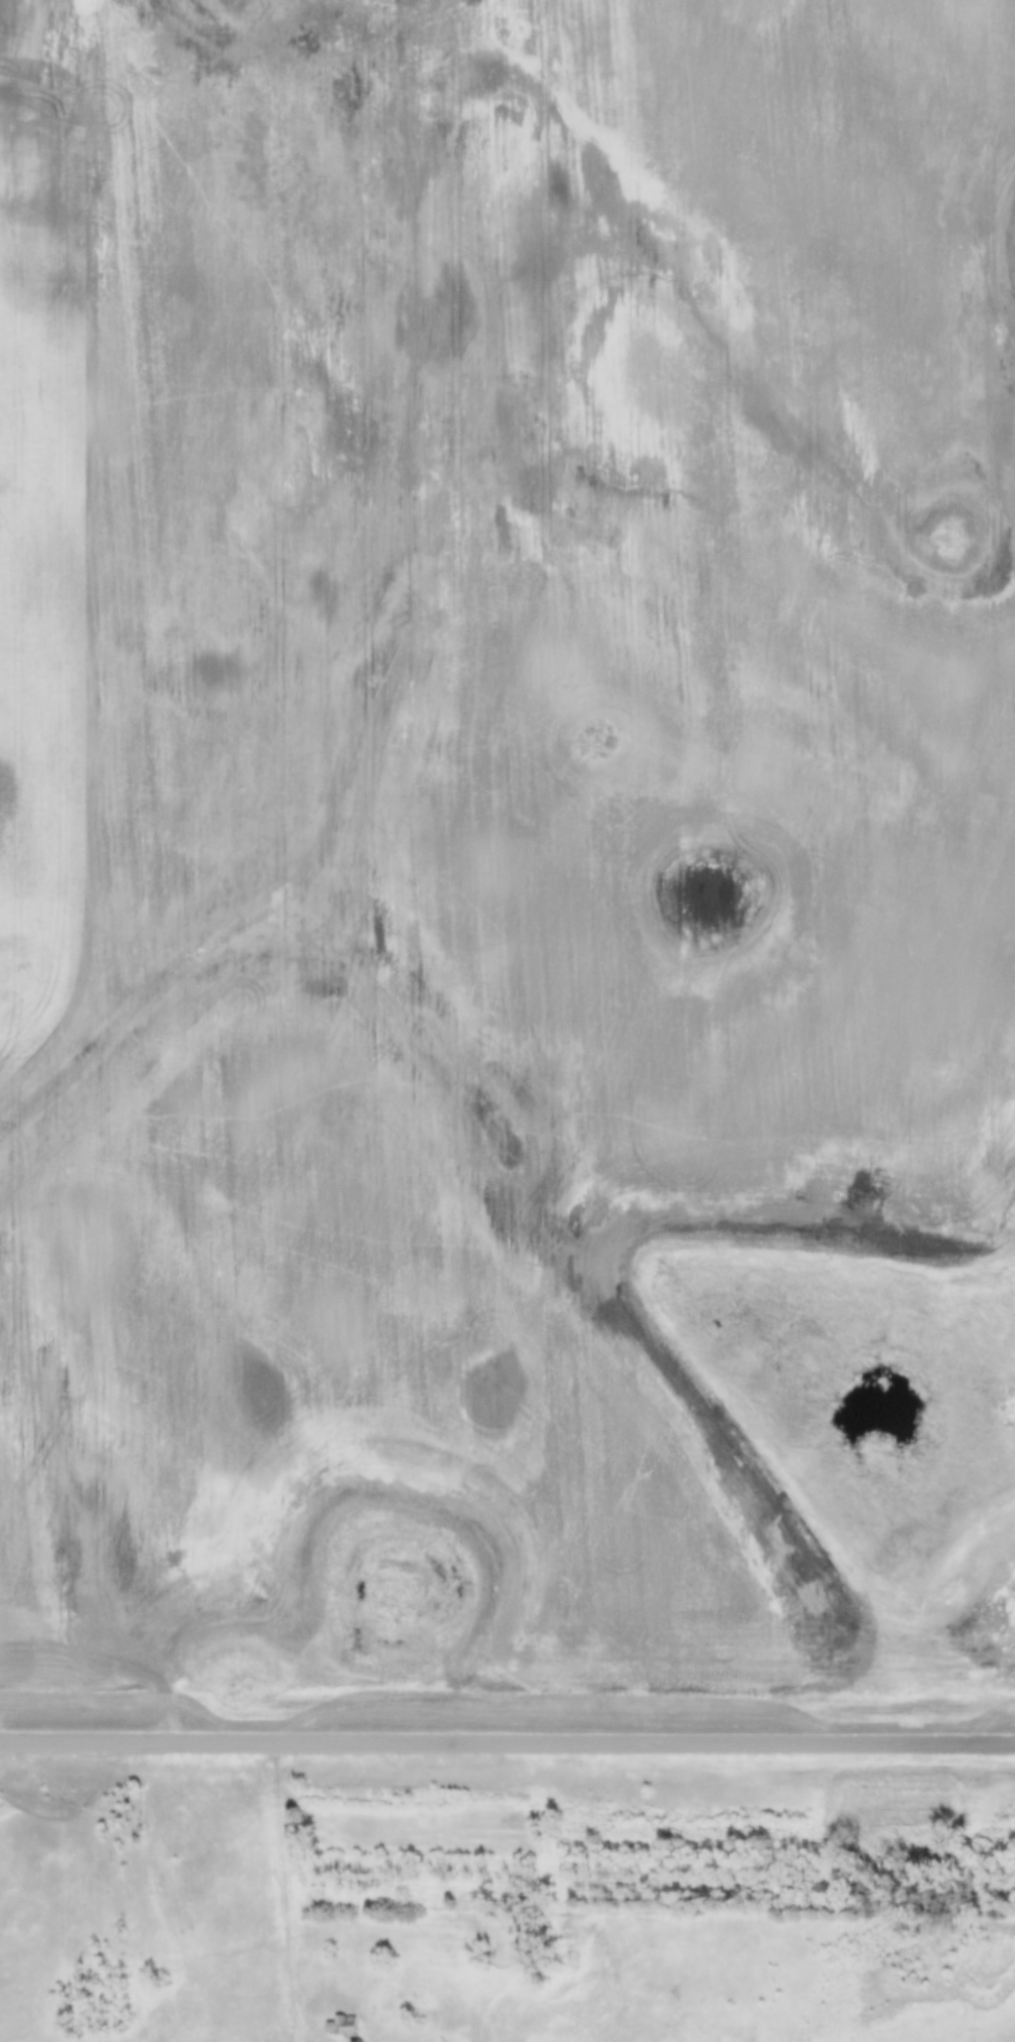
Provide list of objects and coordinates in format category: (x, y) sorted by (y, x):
road: (507, 1743)
building: (340, 2027)

